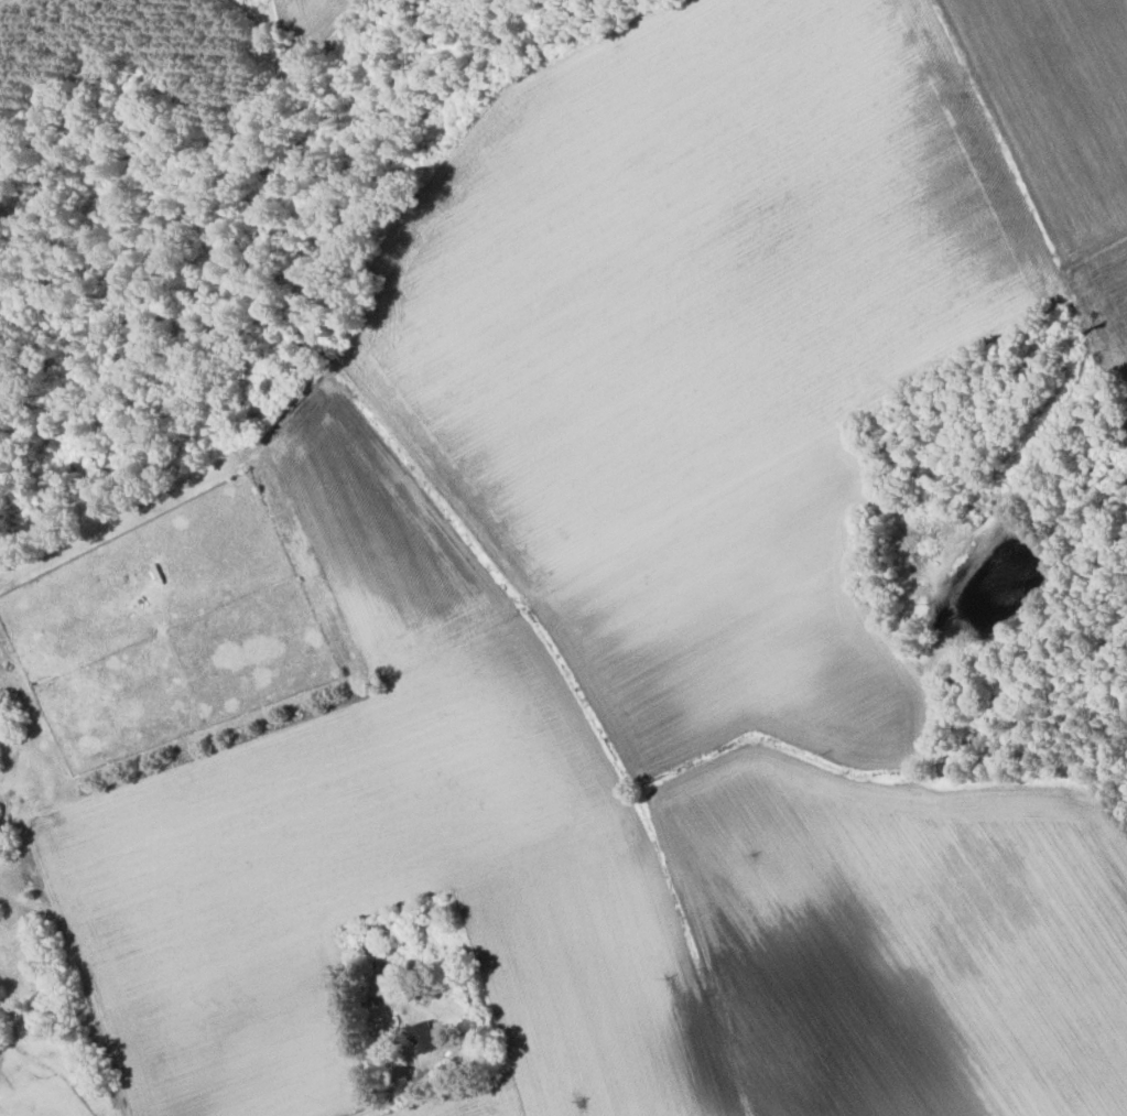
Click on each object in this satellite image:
road: (68, 969)
building: (422, 1034)
road: (389, 1099)

